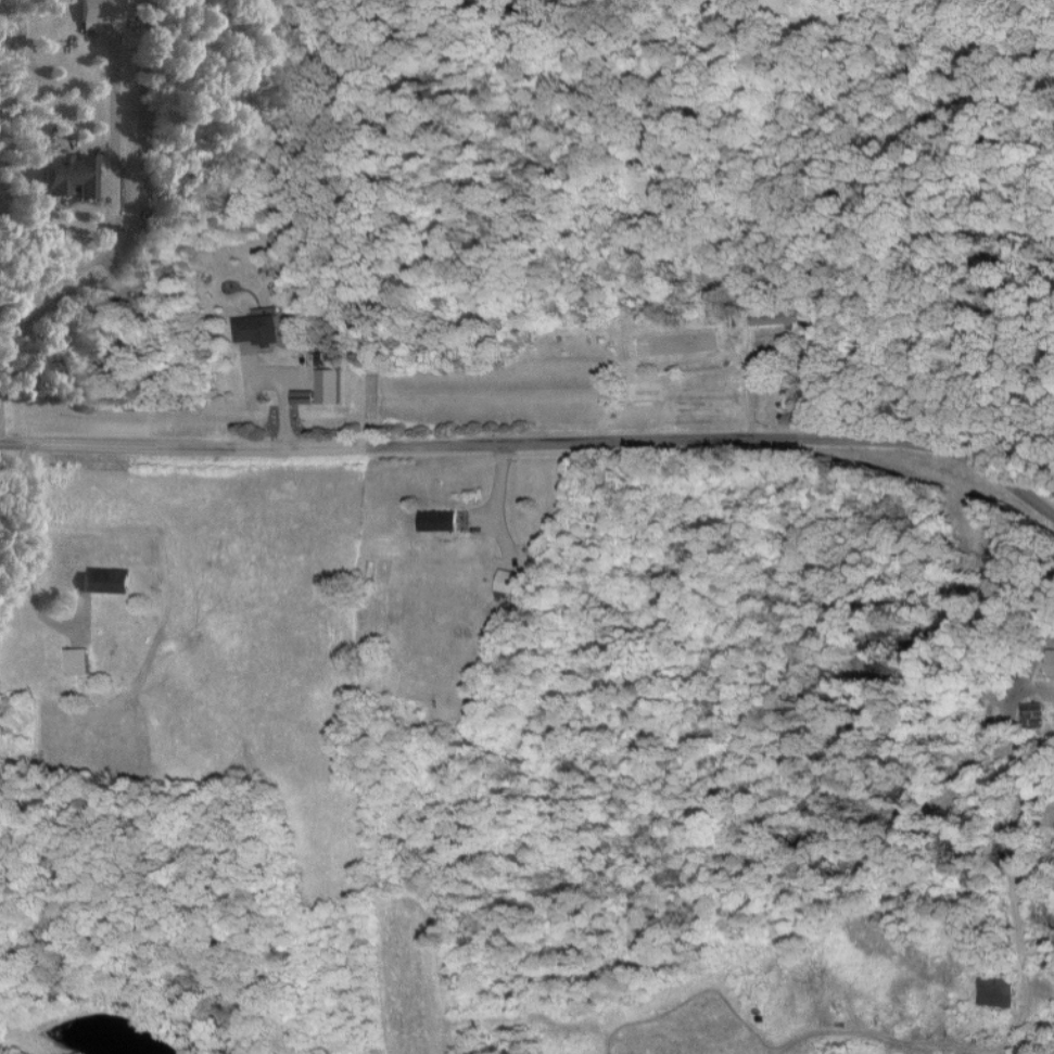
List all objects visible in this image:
building: (96, 11)
building: (66, 175)
road: (114, 227)
building: (773, 317)
building: (255, 329)
road: (748, 383)
building: (326, 385)
road: (536, 444)
road: (498, 503)
building: (435, 519)
road: (26, 560)
building: (102, 579)
building: (509, 581)
building: (75, 660)
building: (1046, 674)
building: (995, 990)

